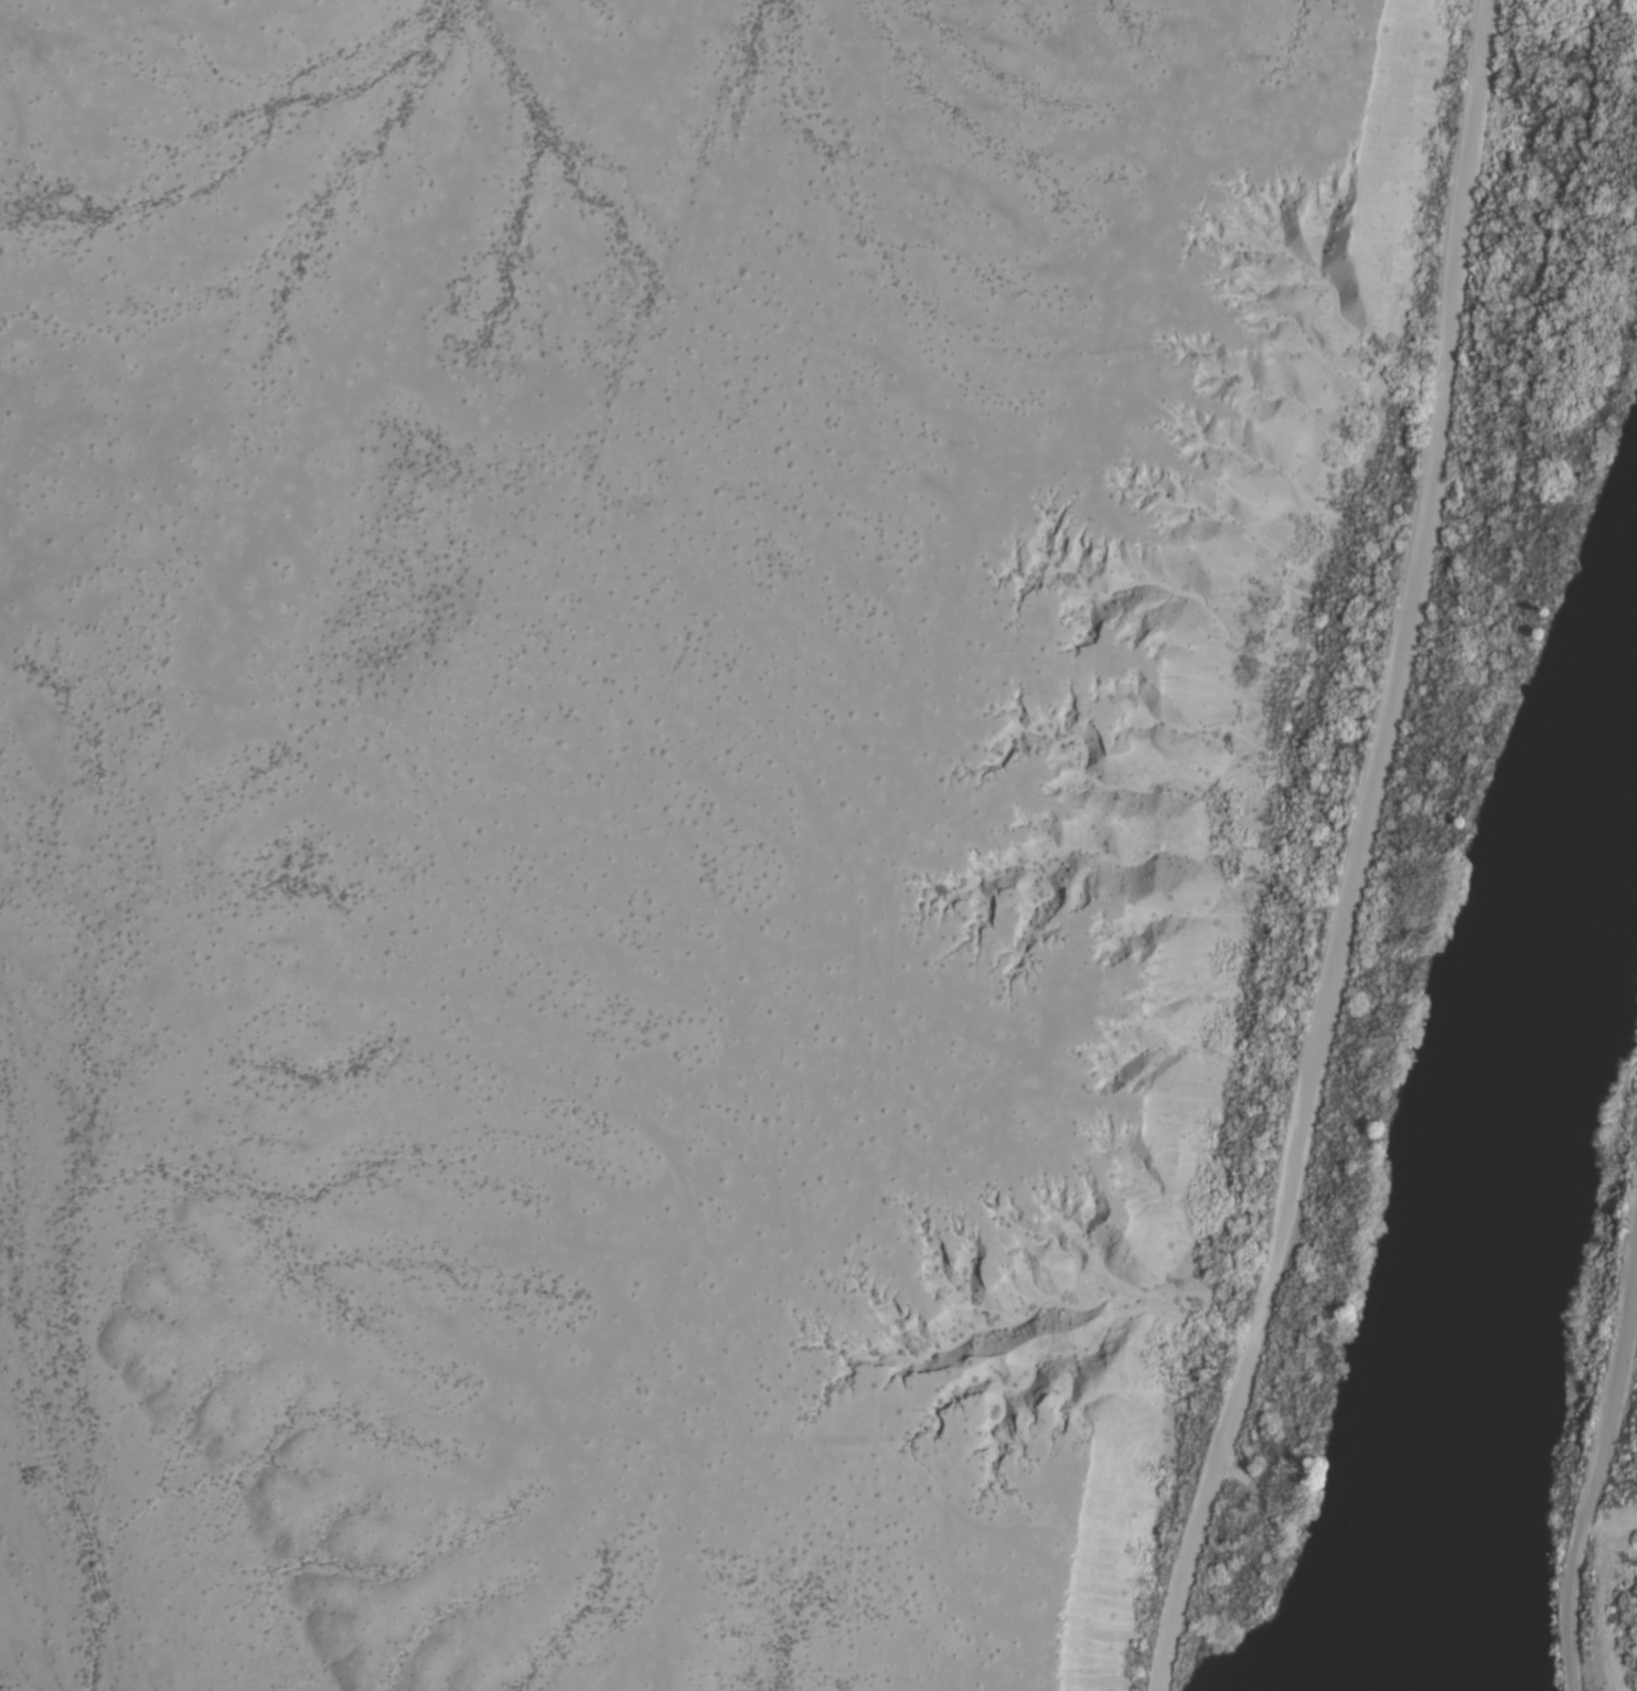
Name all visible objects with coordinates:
road: (1322, 852)
river: (1456, 1149)

